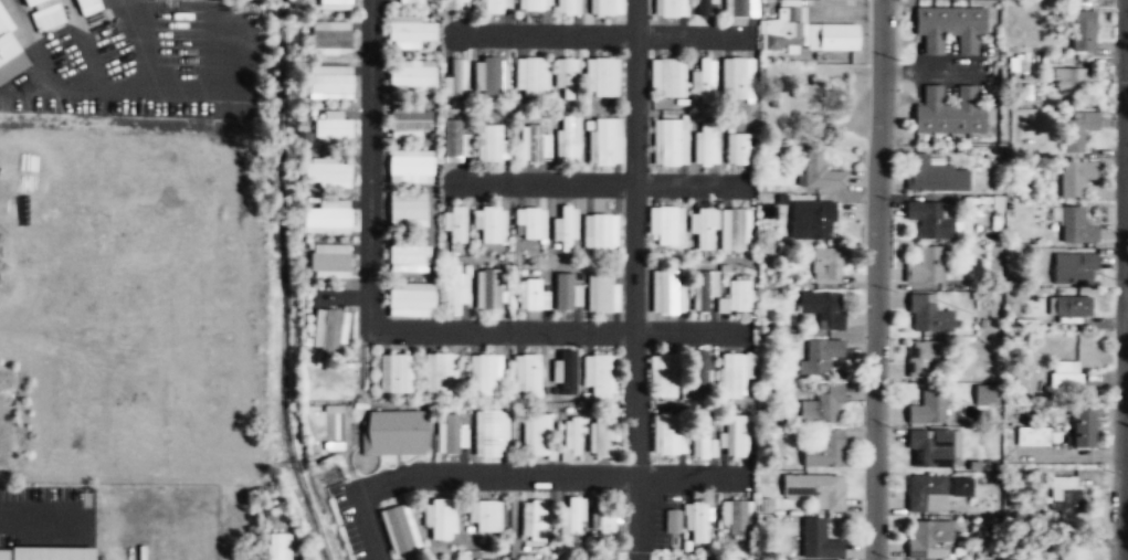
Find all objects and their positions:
building: (31, 1)
building: (336, 1)
building: (411, 2)
building: (457, 4)
building: (534, 4)
building: (88, 6)
building: (494, 6)
building: (568, 7)
building: (605, 7)
building: (700, 7)
building: (667, 8)
building: (738, 8)
building: (4, 22)
building: (949, 29)
building: (413, 31)
building: (1083, 31)
building: (804, 33)
road: (601, 35)
building: (333, 38)
building: (412, 74)
building: (492, 74)
building: (533, 75)
building: (603, 75)
building: (568, 76)
building: (666, 76)
building: (736, 77)
building: (456, 80)
building: (702, 80)
building: (1069, 80)
building: (330, 82)
building: (809, 88)
building: (949, 112)
building: (411, 119)
building: (331, 127)
building: (1079, 130)
building: (452, 136)
building: (567, 137)
building: (604, 139)
building: (493, 141)
building: (535, 141)
building: (667, 141)
building: (703, 144)
building: (739, 148)
building: (412, 163)
building: (814, 169)
building: (327, 171)
building: (931, 175)
building: (1075, 179)
road: (602, 183)
building: (781, 199)
building: (409, 208)
building: (327, 215)
building: (812, 219)
building: (929, 219)
building: (531, 221)
building: (458, 223)
building: (491, 223)
building: (664, 224)
building: (566, 228)
building: (1075, 228)
building: (703, 229)
building: (735, 229)
building: (601, 230)
road: (634, 237)
building: (410, 253)
building: (330, 261)
building: (827, 265)
building: (925, 265)
building: (1074, 270)
road: (876, 279)
road: (1124, 279)
building: (492, 287)
building: (455, 288)
building: (565, 289)
building: (702, 290)
building: (604, 292)
building: (665, 292)
building: (534, 293)
building: (740, 295)
building: (412, 298)
building: (823, 308)
building: (1068, 308)
building: (928, 314)
road: (397, 329)
building: (331, 331)
building: (925, 353)
building: (820, 355)
building: (699, 369)
building: (397, 371)
building: (442, 371)
building: (487, 373)
building: (664, 373)
building: (530, 374)
building: (566, 374)
building: (729, 374)
building: (601, 376)
building: (700, 379)
building: (1064, 385)
building: (984, 394)
building: (819, 402)
building: (928, 406)
building: (1082, 429)
building: (451, 432)
building: (666, 432)
building: (393, 433)
building: (491, 433)
building: (538, 433)
building: (604, 433)
building: (700, 433)
building: (574, 434)
building: (738, 435)
building: (1033, 437)
building: (930, 447)
building: (824, 452)
building: (973, 466)
power tower: (331, 473)
road: (465, 475)
road: (689, 475)
building: (961, 486)
building: (815, 489)
building: (923, 489)
building: (1066, 498)
road: (40, 508)
building: (485, 515)
building: (736, 516)
road: (637, 517)
building: (441, 518)
building: (538, 519)
building: (697, 520)
building: (573, 521)
building: (608, 522)
building: (672, 524)
building: (399, 527)
building: (926, 536)
building: (819, 540)
building: (278, 552)
building: (46, 553)
building: (1073, 557)
building: (573, 559)
building: (706, 559)

